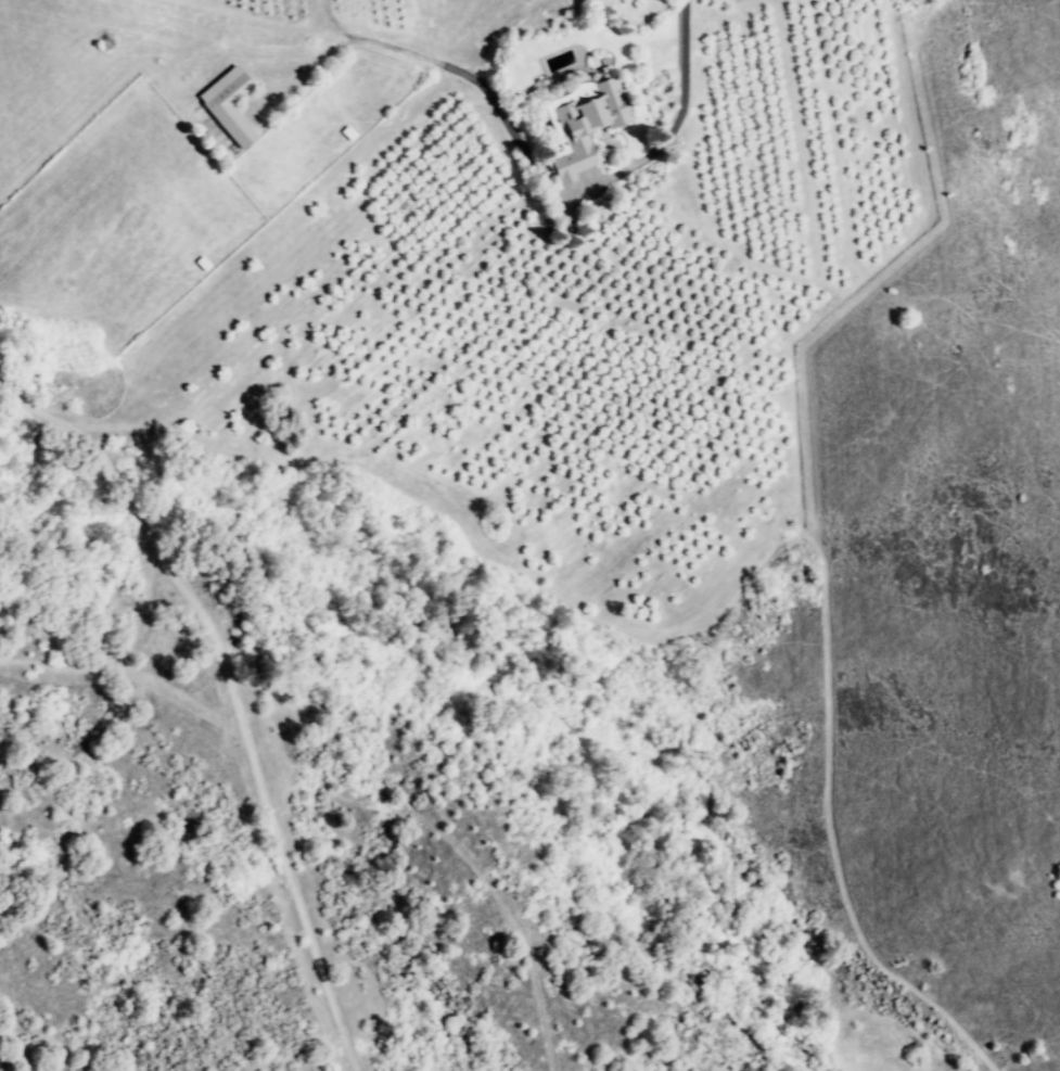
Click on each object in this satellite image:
road: (224, 11)
road: (444, 67)
building: (227, 105)
building: (580, 125)
road: (667, 131)
road: (234, 693)

